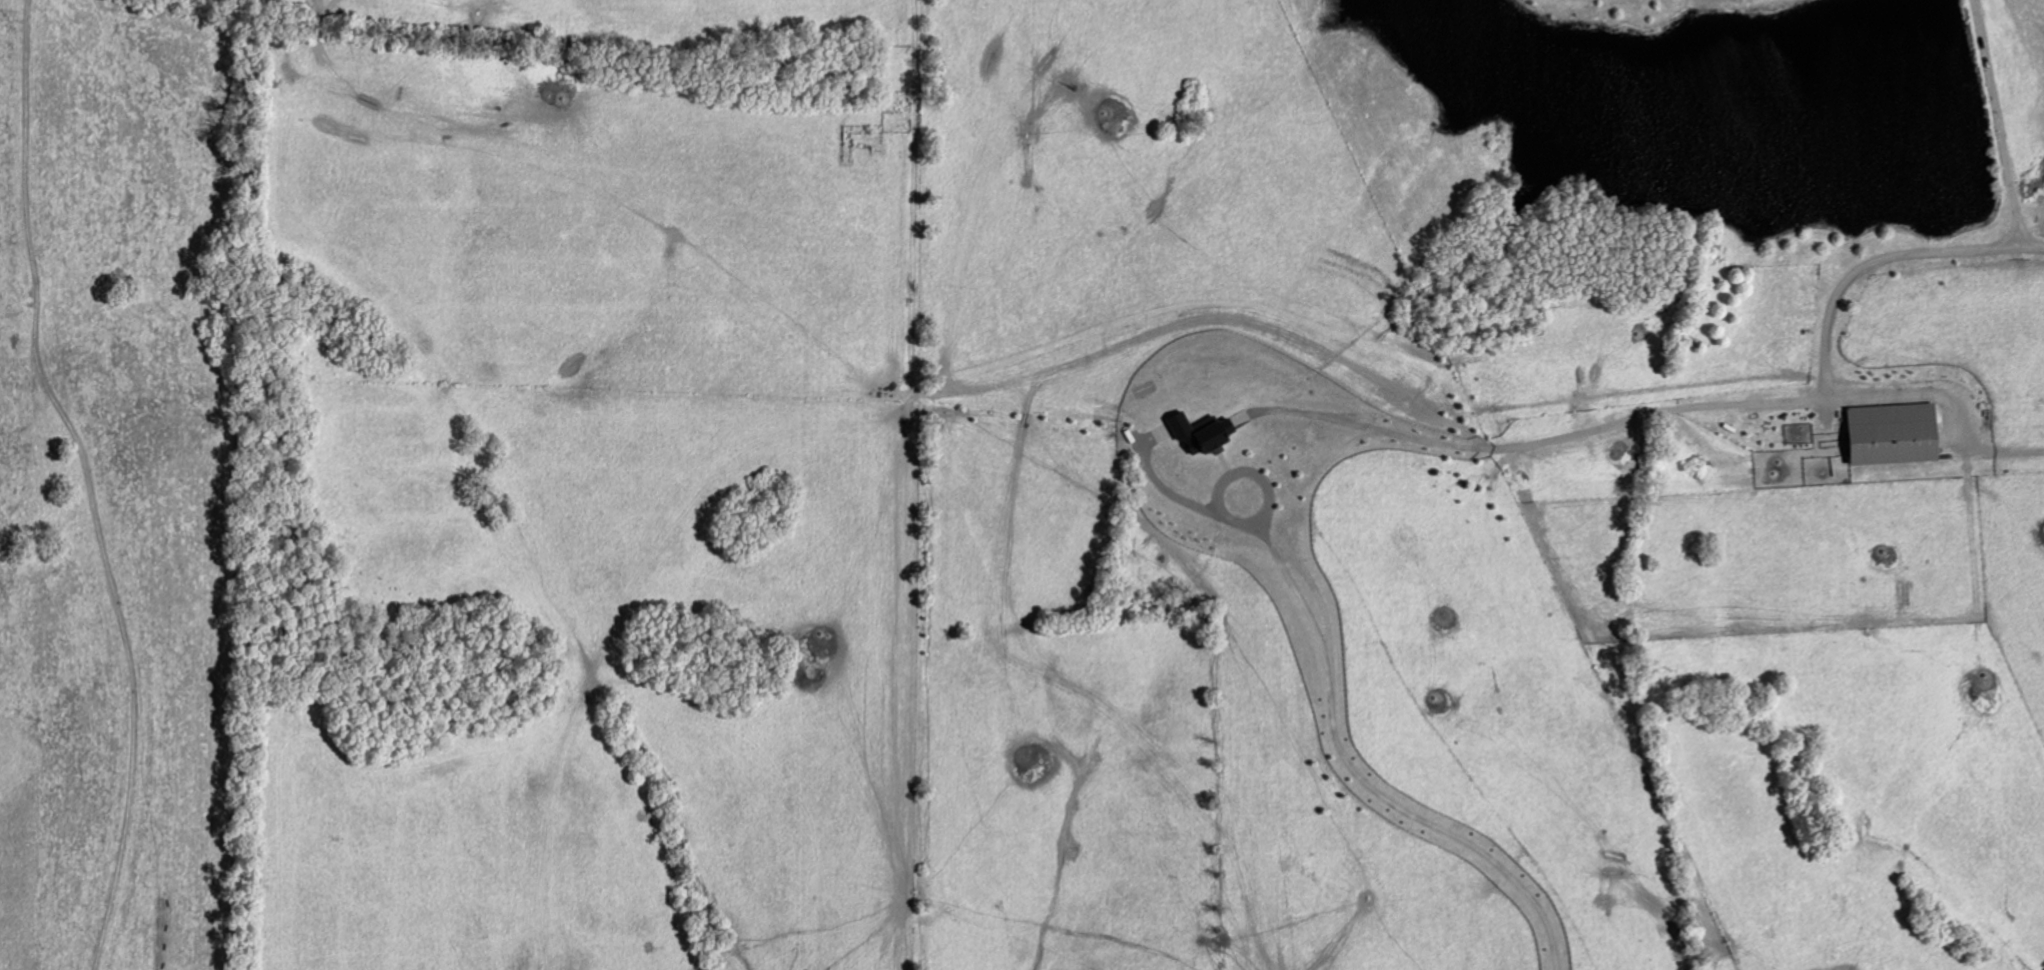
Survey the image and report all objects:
road: (107, 483)
road: (1344, 760)

